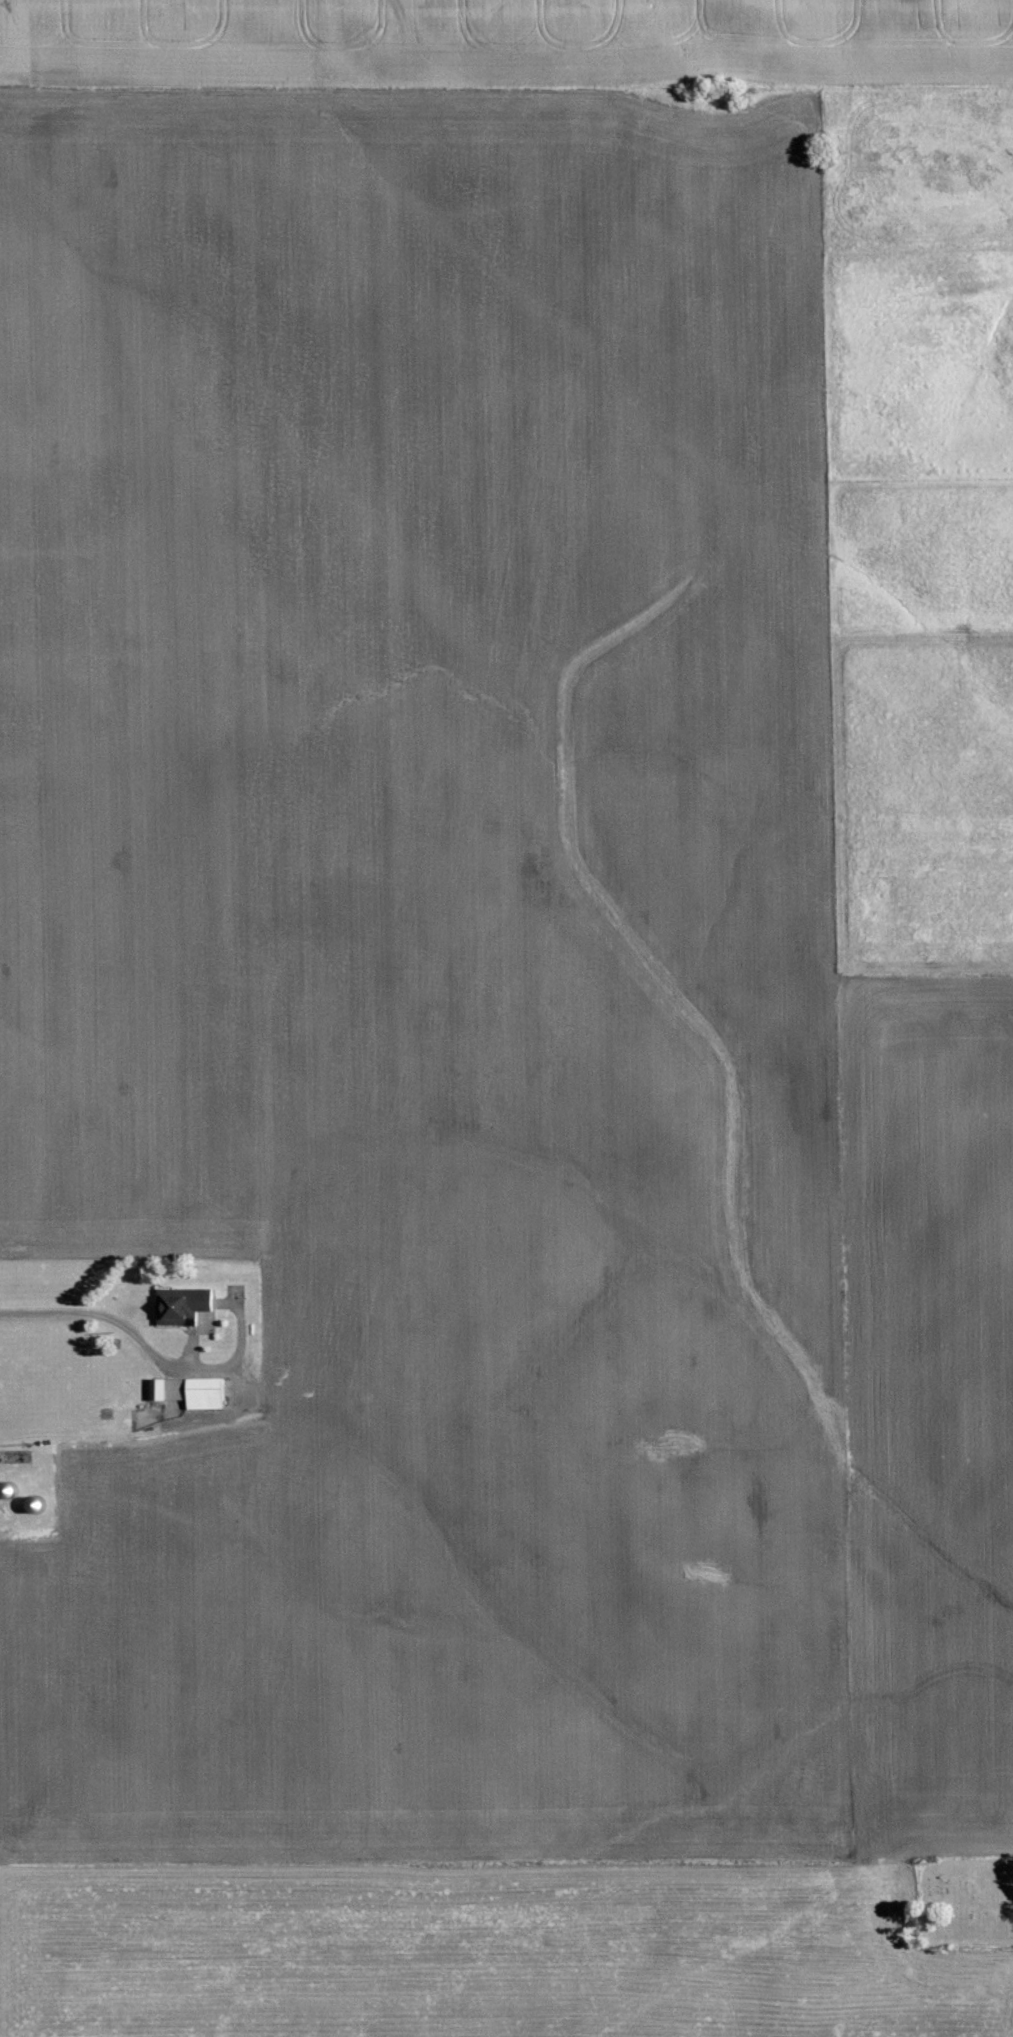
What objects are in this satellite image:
building: (182, 1307)
road: (111, 1319)
building: (190, 1393)

